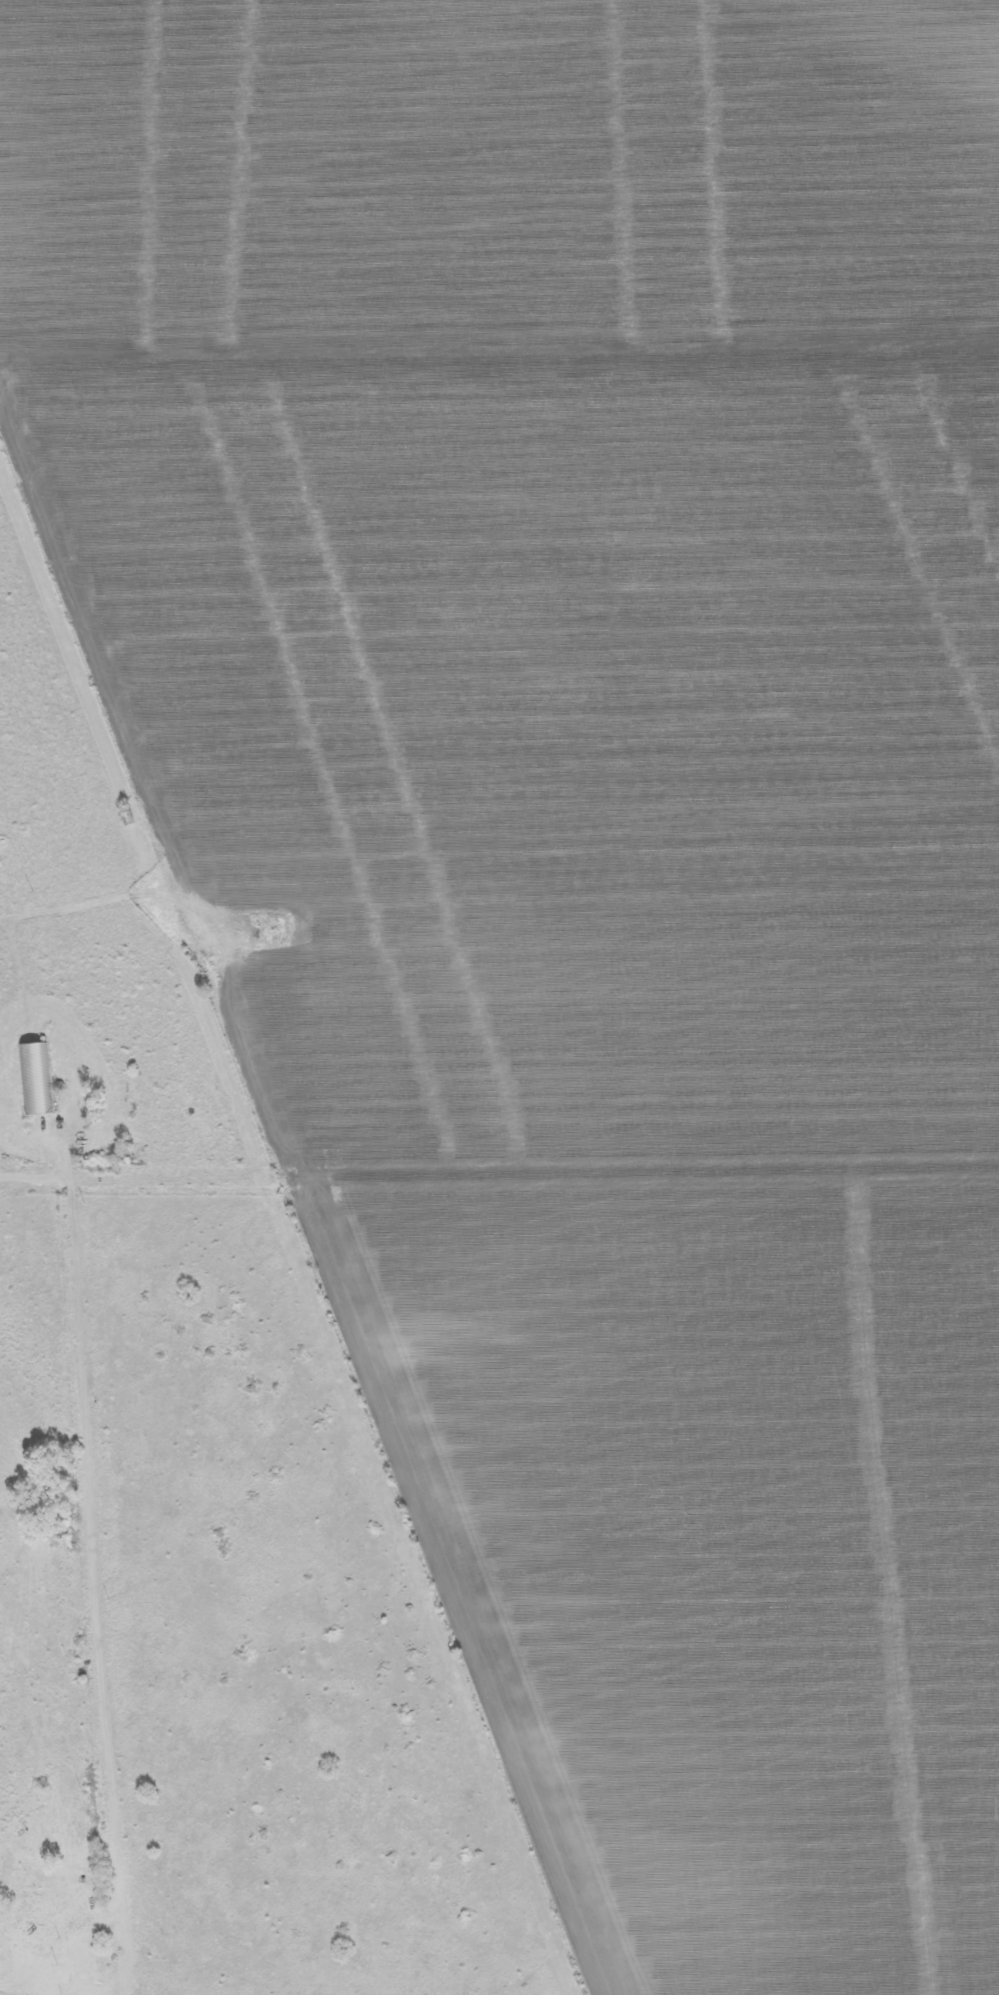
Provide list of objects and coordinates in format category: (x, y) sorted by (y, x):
road: (499, 1185)

